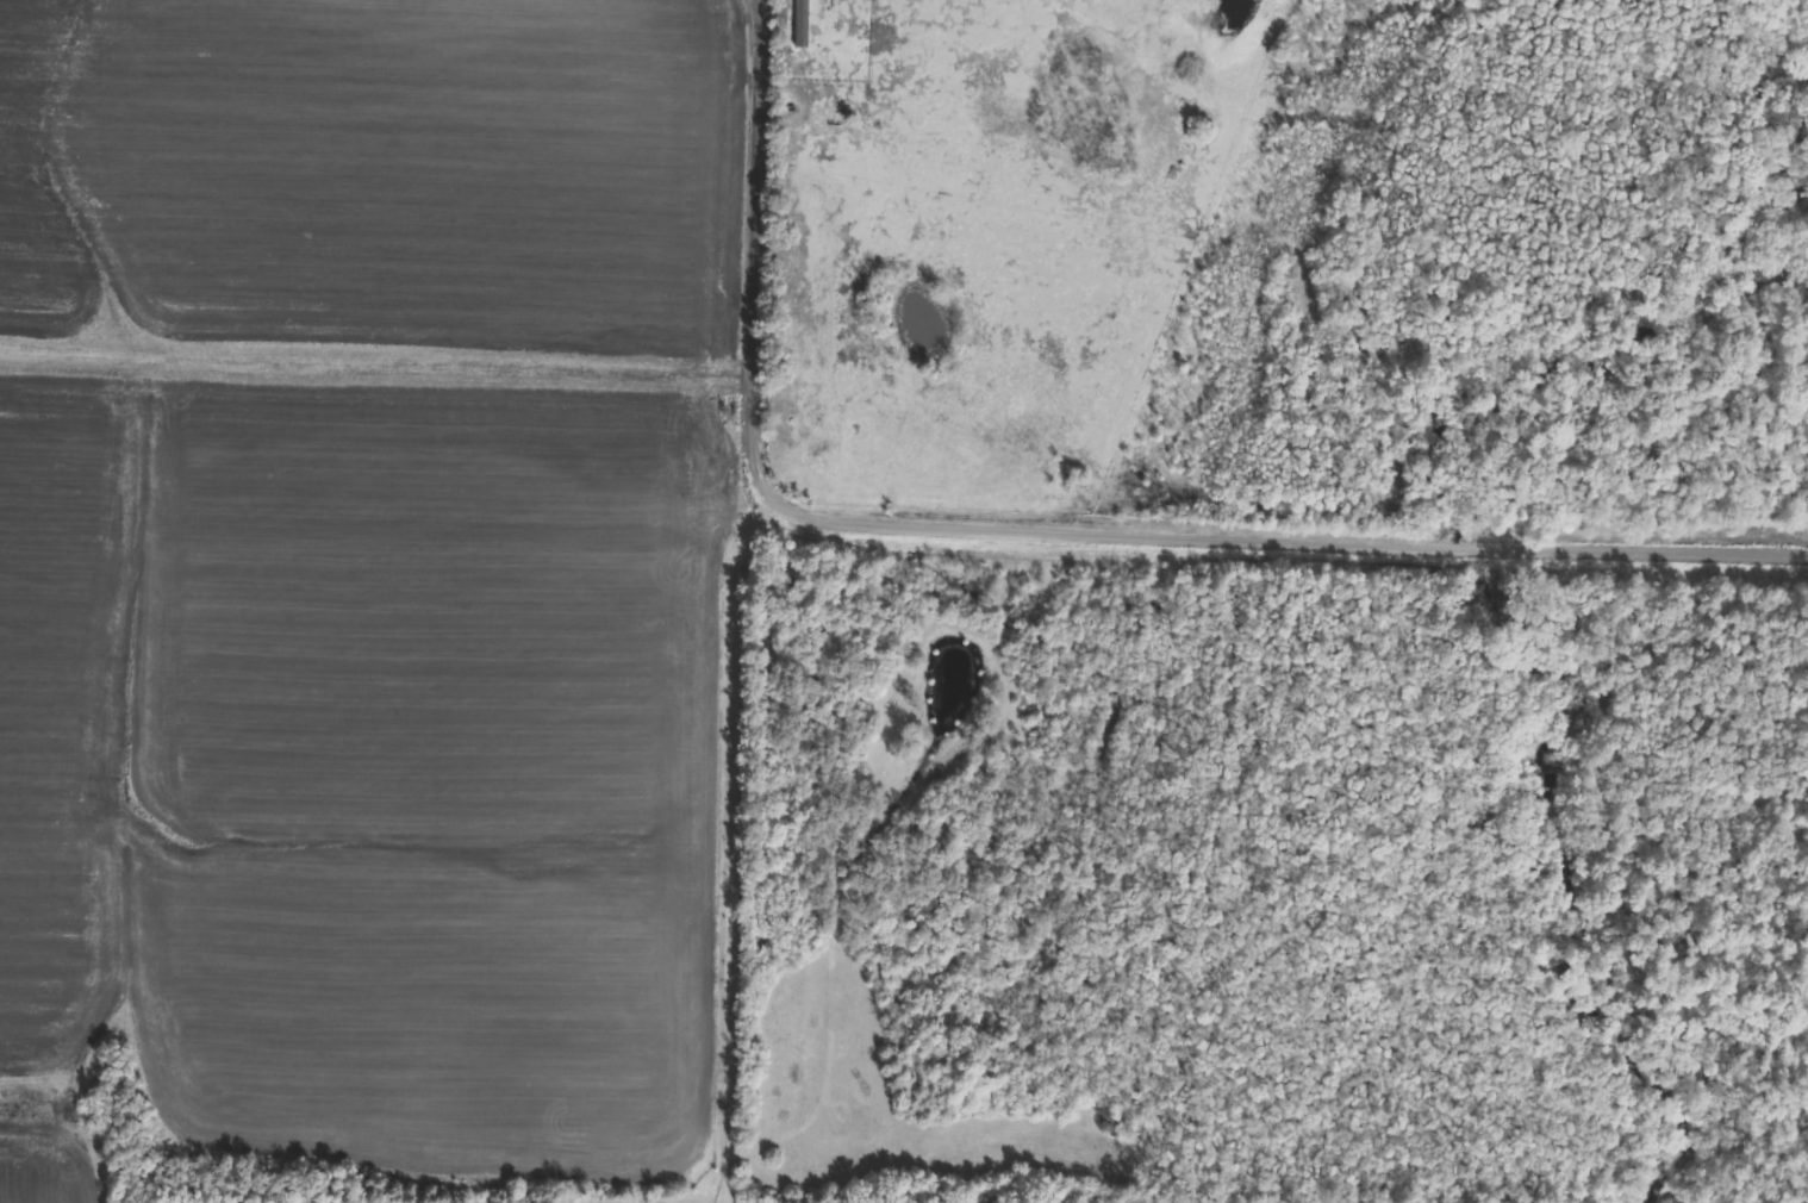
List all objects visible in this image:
road: (849, 524)
road: (1628, 549)

